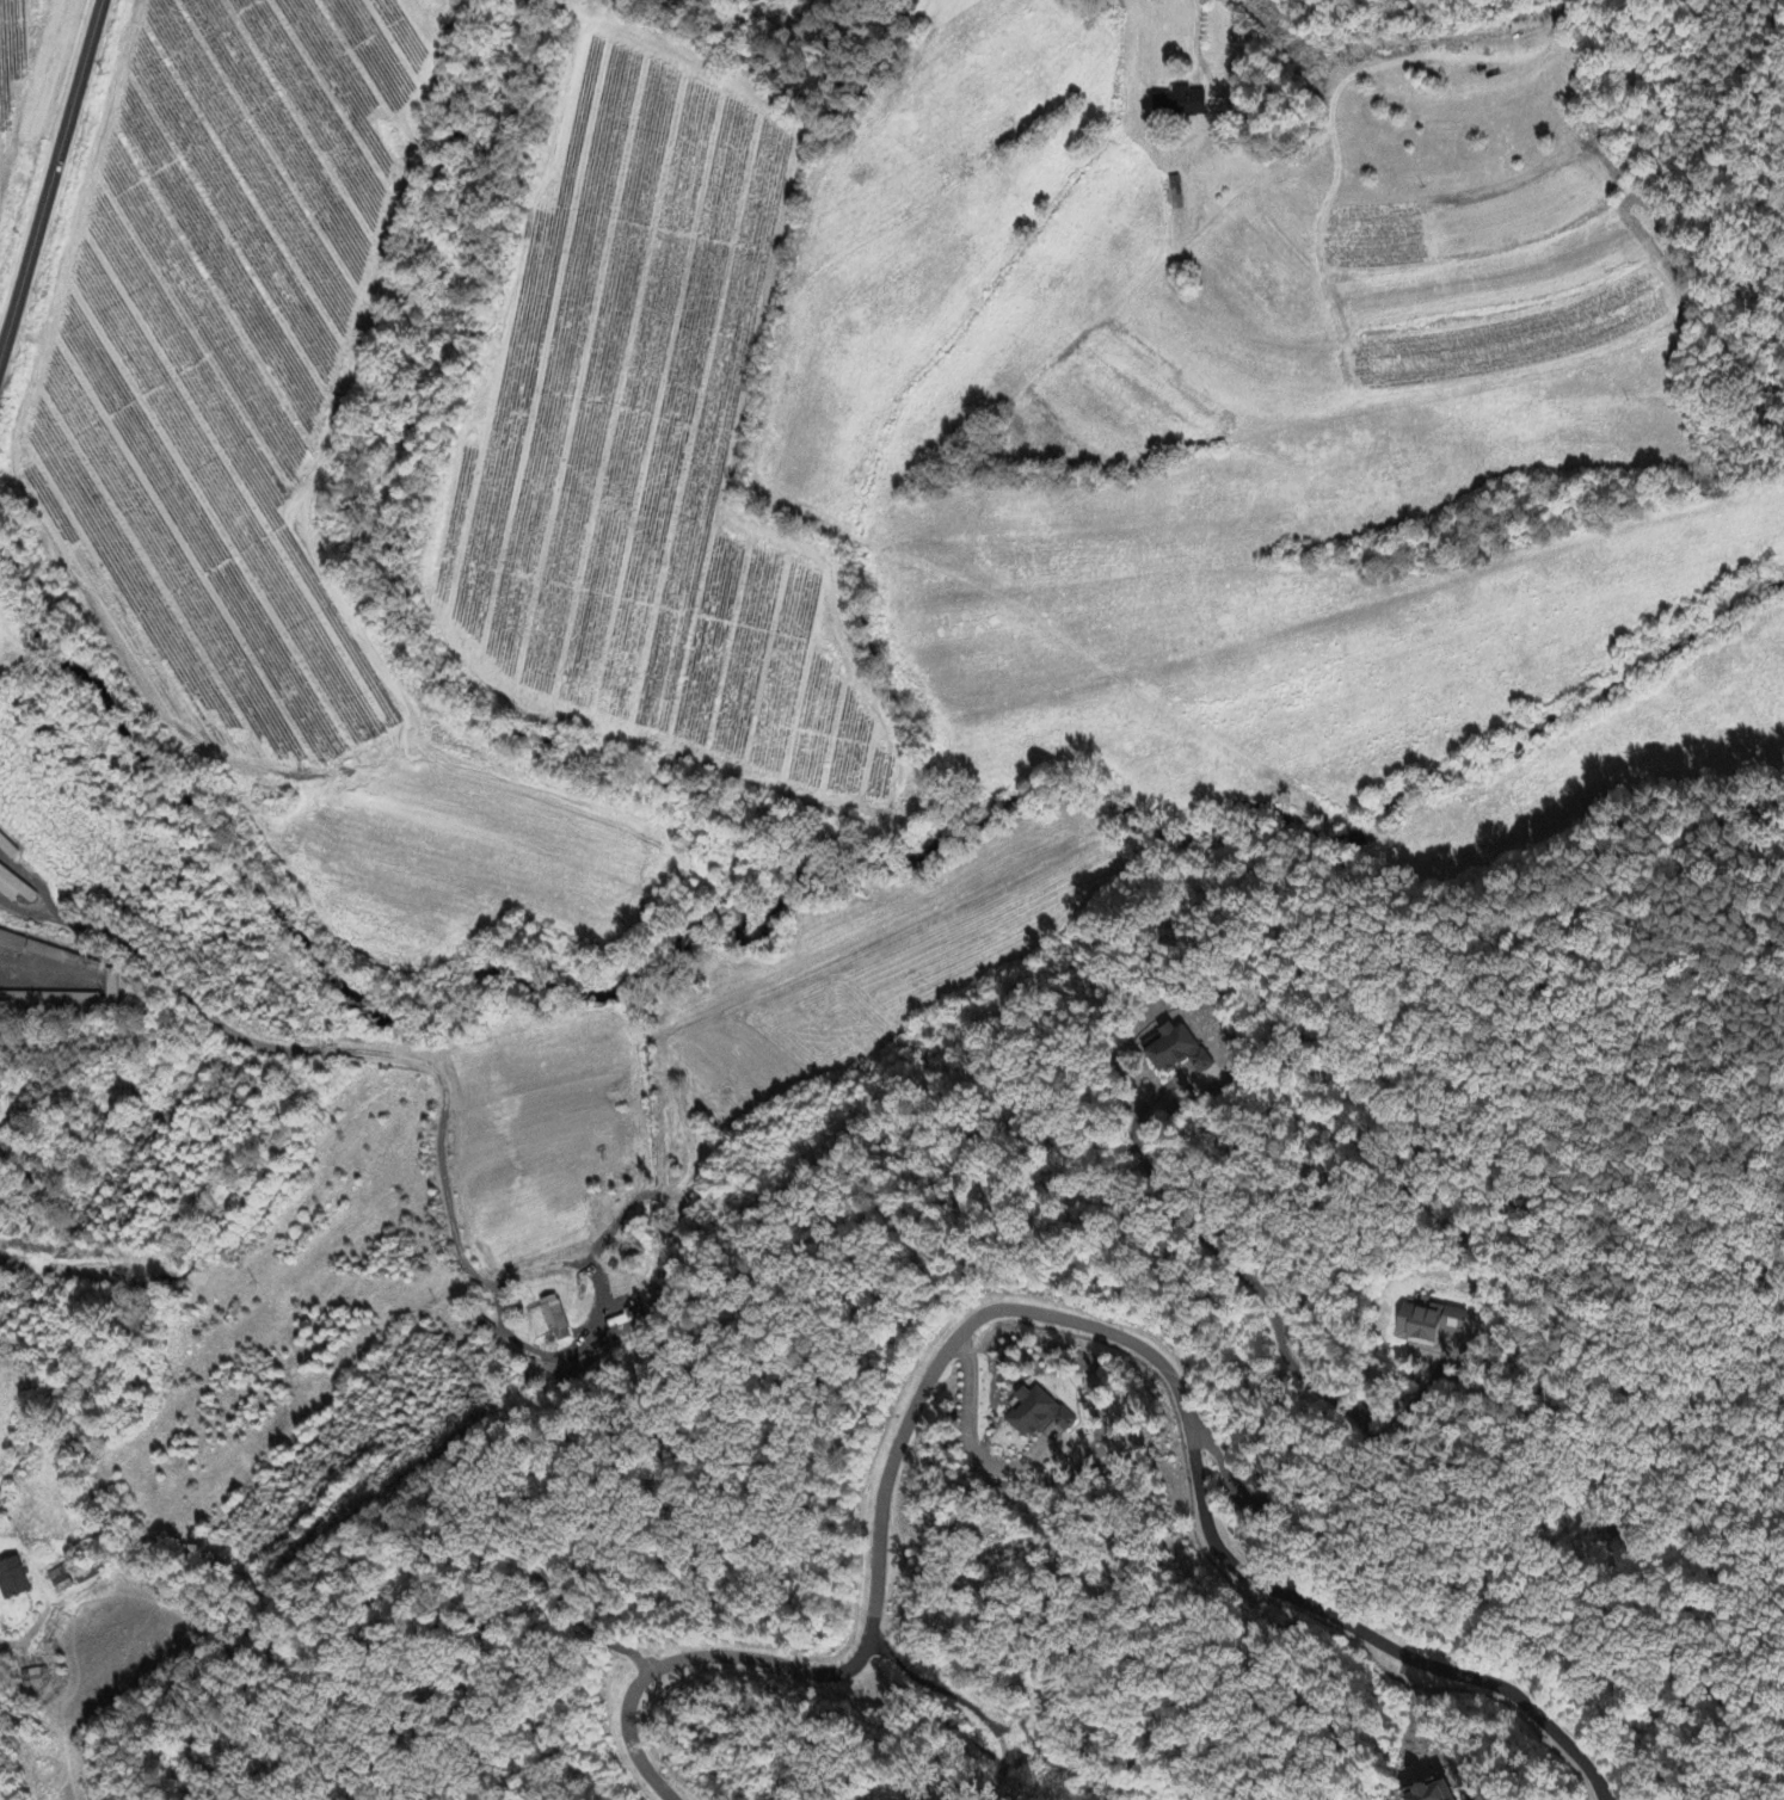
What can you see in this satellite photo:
road: (1720, 26)
road: (1193, 35)
building: (1175, 105)
road: (51, 177)
building: (6, 850)
building: (13, 888)
building: (10, 944)
building: (39, 954)
building: (1174, 1050)
road: (302, 1053)
road: (1041, 1314)
building: (552, 1319)
building: (1431, 1323)
road: (1298, 1363)
building: (1034, 1414)
road: (967, 1438)
building: (12, 1577)
building: (62, 1580)
road: (30, 1639)
building: (32, 1678)
building: (1428, 1793)

